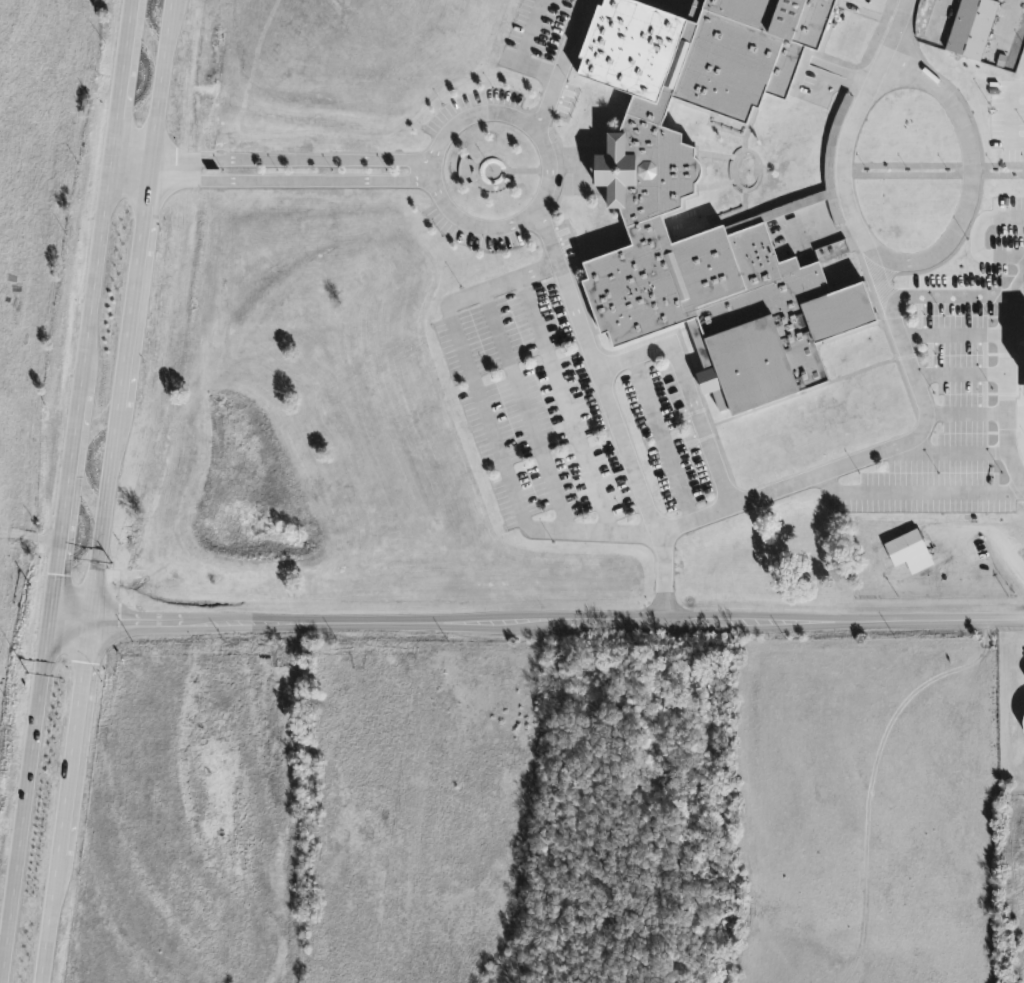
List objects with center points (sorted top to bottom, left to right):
building: (971, 27)
road: (521, 48)
road: (559, 66)
road: (288, 156)
road: (127, 164)
road: (548, 165)
road: (970, 170)
road: (288, 179)
building: (644, 208)
road: (1009, 253)
road: (1003, 293)
road: (993, 294)
road: (952, 336)
road: (902, 346)
road: (959, 374)
road: (1004, 381)
road: (685, 388)
road: (964, 410)
road: (611, 411)
road: (486, 421)
road: (945, 449)
road: (63, 472)
road: (917, 489)
road: (105, 491)
road: (990, 531)
building: (909, 550)
road: (533, 620)
traffic signals: (43, 621)
traffic signals: (88, 622)

